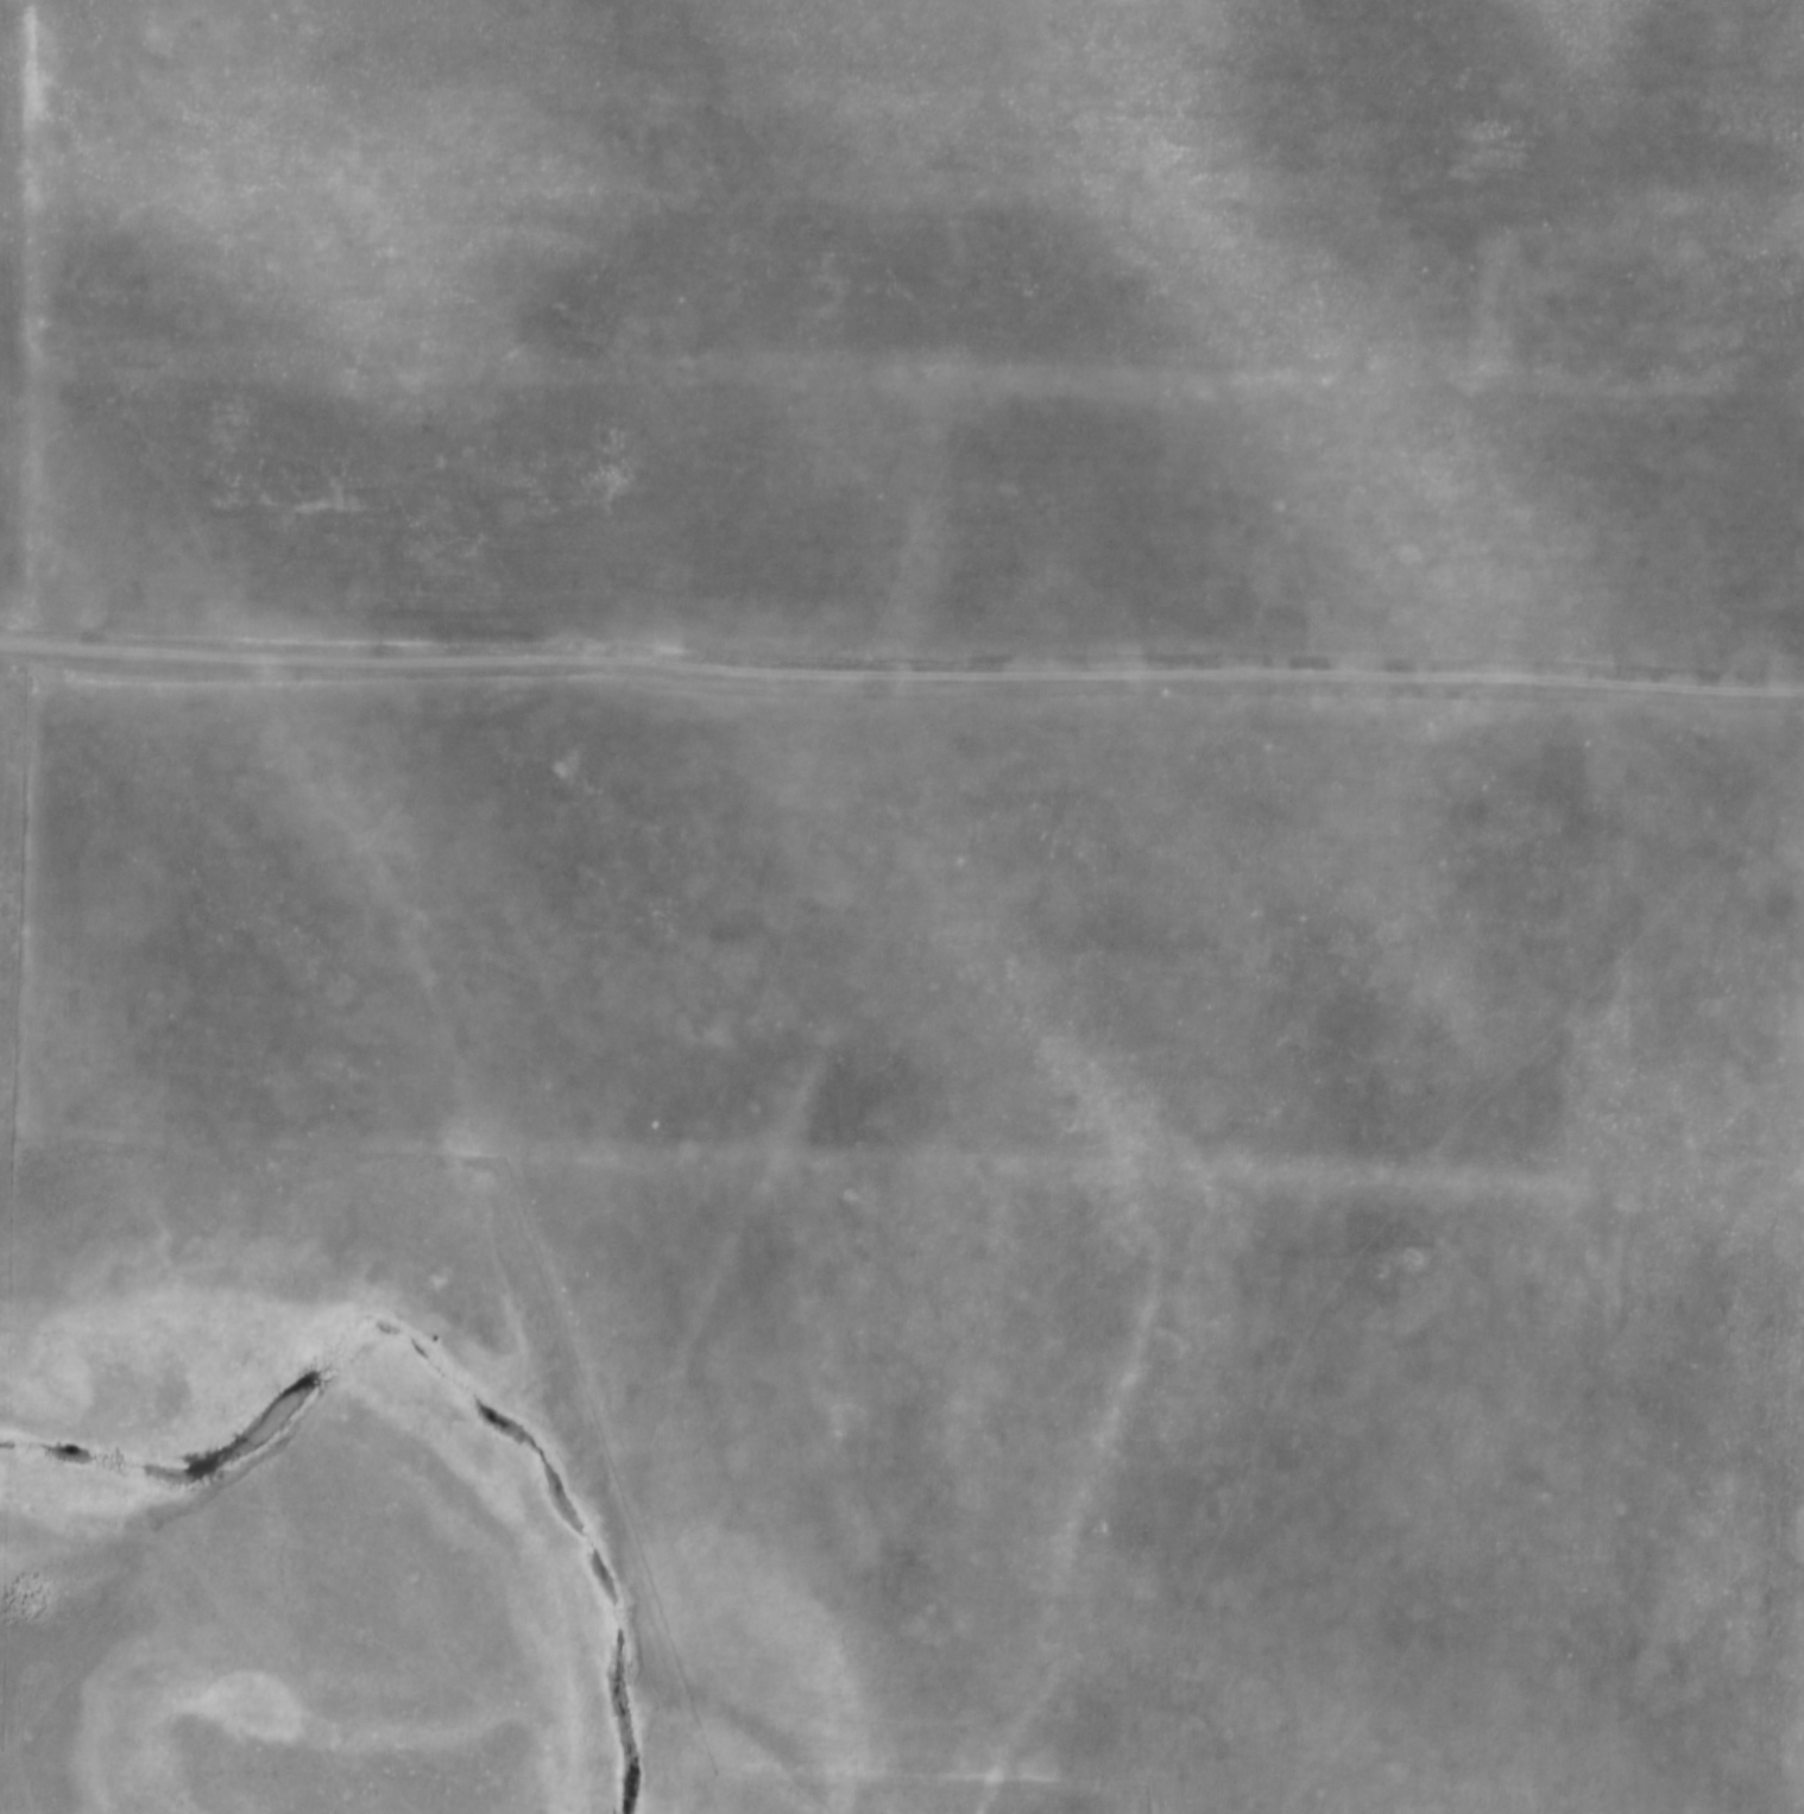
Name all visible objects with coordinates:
road: (902, 672)

